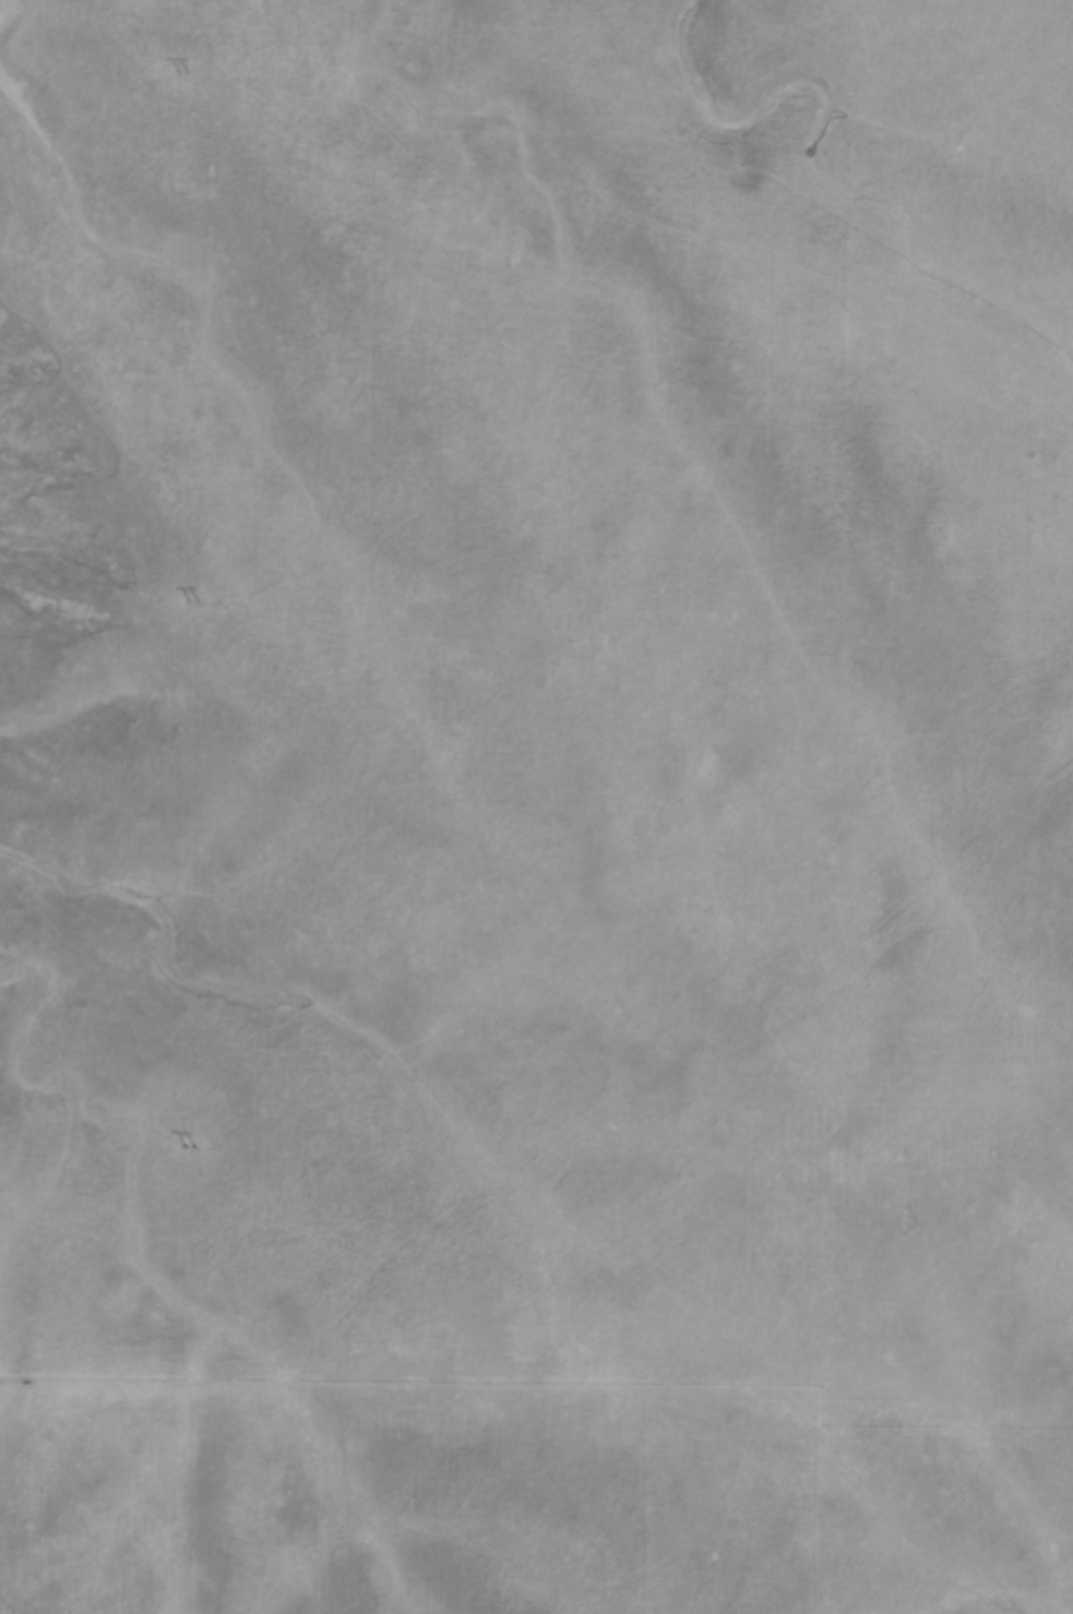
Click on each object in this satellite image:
power tower: (183, 74)
power tower: (194, 603)
power tower: (190, 1148)

